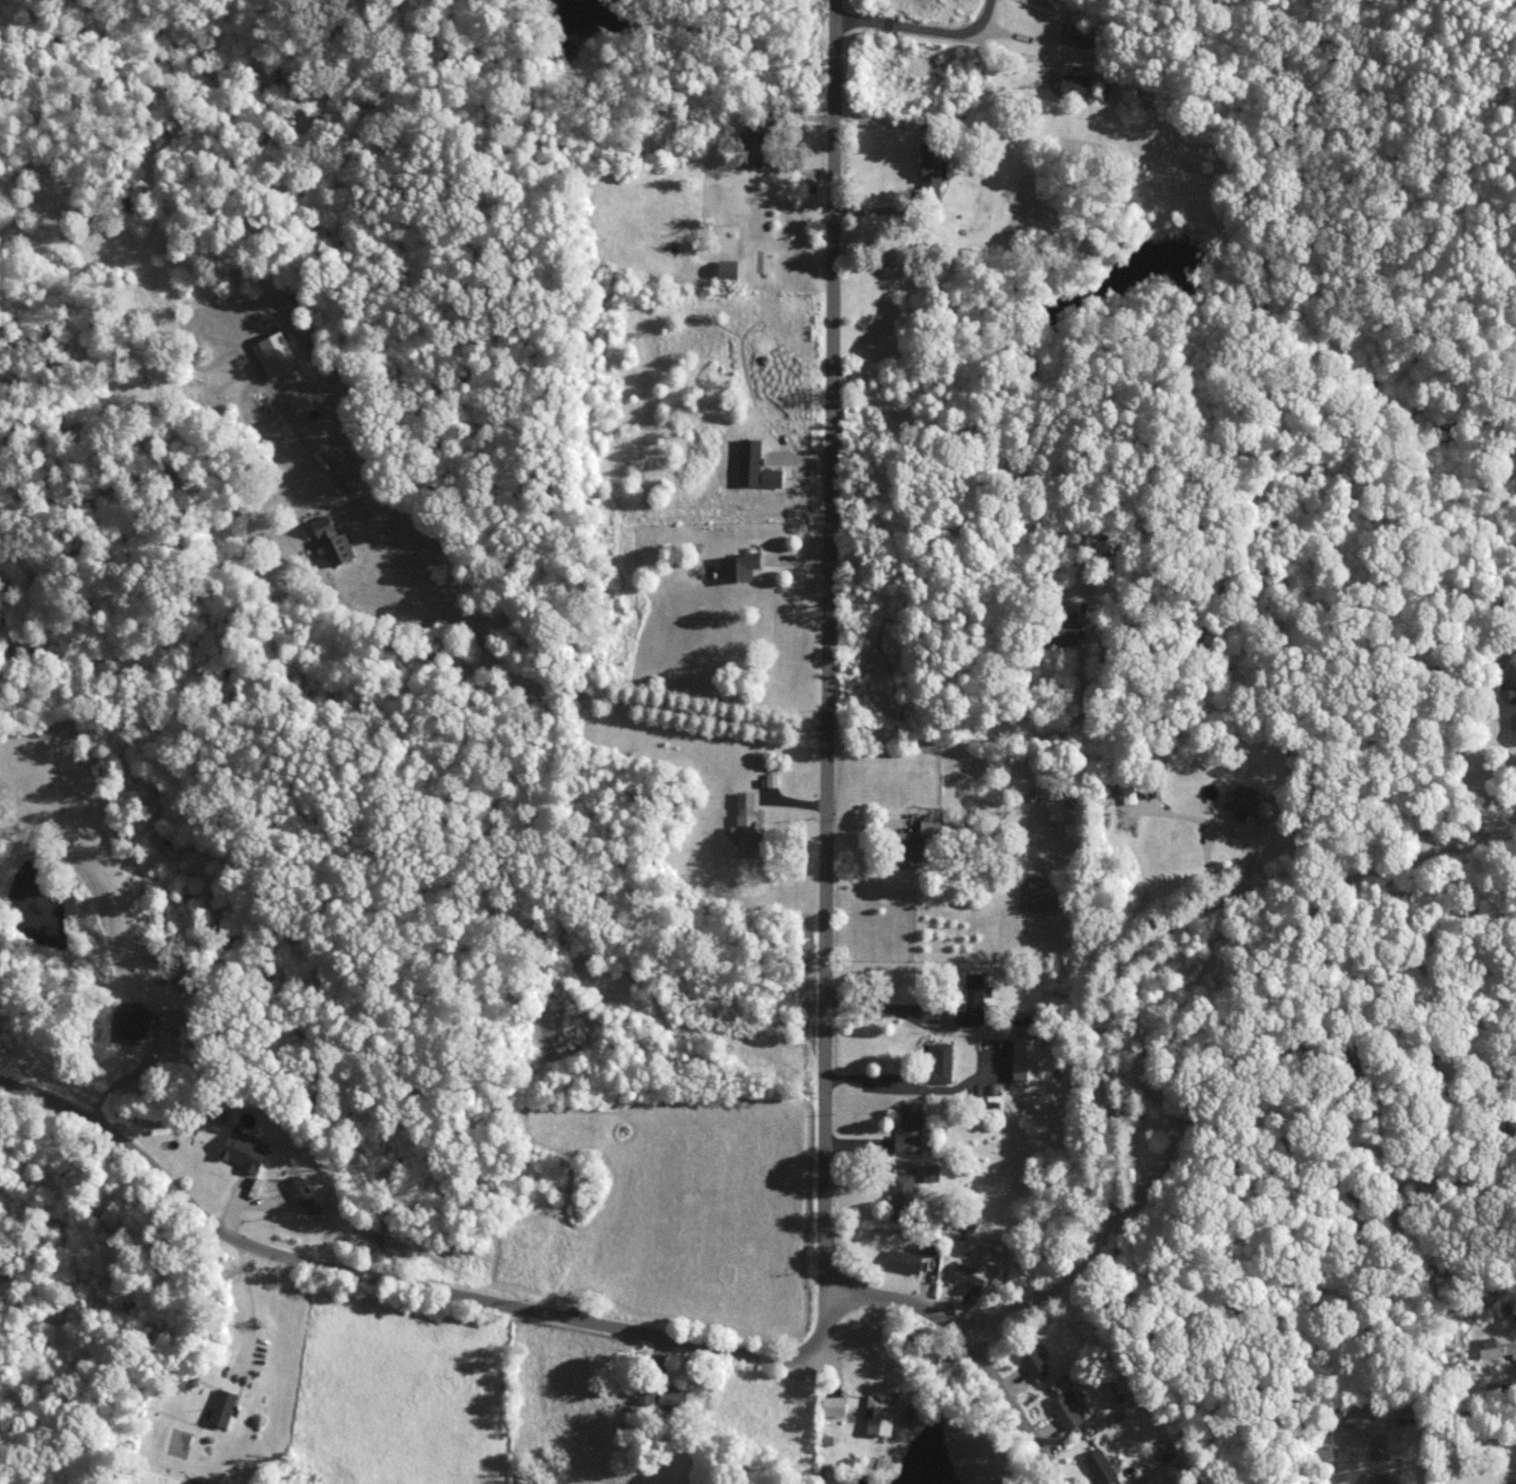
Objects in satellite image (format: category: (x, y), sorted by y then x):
road: (982, 19)
road: (899, 24)
building: (1081, 35)
building: (1076, 85)
road: (886, 124)
building: (753, 148)
building: (932, 168)
building: (895, 261)
building: (728, 268)
building: (276, 353)
building: (772, 477)
building: (334, 541)
building: (740, 566)
building: (1069, 624)
road: (831, 649)
road: (515, 673)
building: (1508, 708)
road: (1006, 741)
building: (772, 779)
building: (1128, 791)
building: (1243, 800)
building: (746, 825)
road: (866, 828)
road: (1284, 836)
building: (919, 844)
road: (1120, 972)
building: (972, 1001)
road: (880, 1007)
building: (175, 1017)
building: (133, 1021)
building: (1028, 1057)
building: (941, 1061)
road: (1239, 1108)
building: (911, 1127)
building: (243, 1151)
building: (931, 1171)
building: (299, 1187)
building: (902, 1190)
road: (230, 1209)
building: (928, 1247)
building: (904, 1260)
building: (969, 1277)
road: (408, 1284)
road: (248, 1311)
road: (978, 1347)
building: (1496, 1347)
building: (1032, 1358)
building: (664, 1394)
building: (834, 1405)
building: (222, 1407)
building: (1068, 1409)
building: (880, 1414)
building: (1101, 1466)

